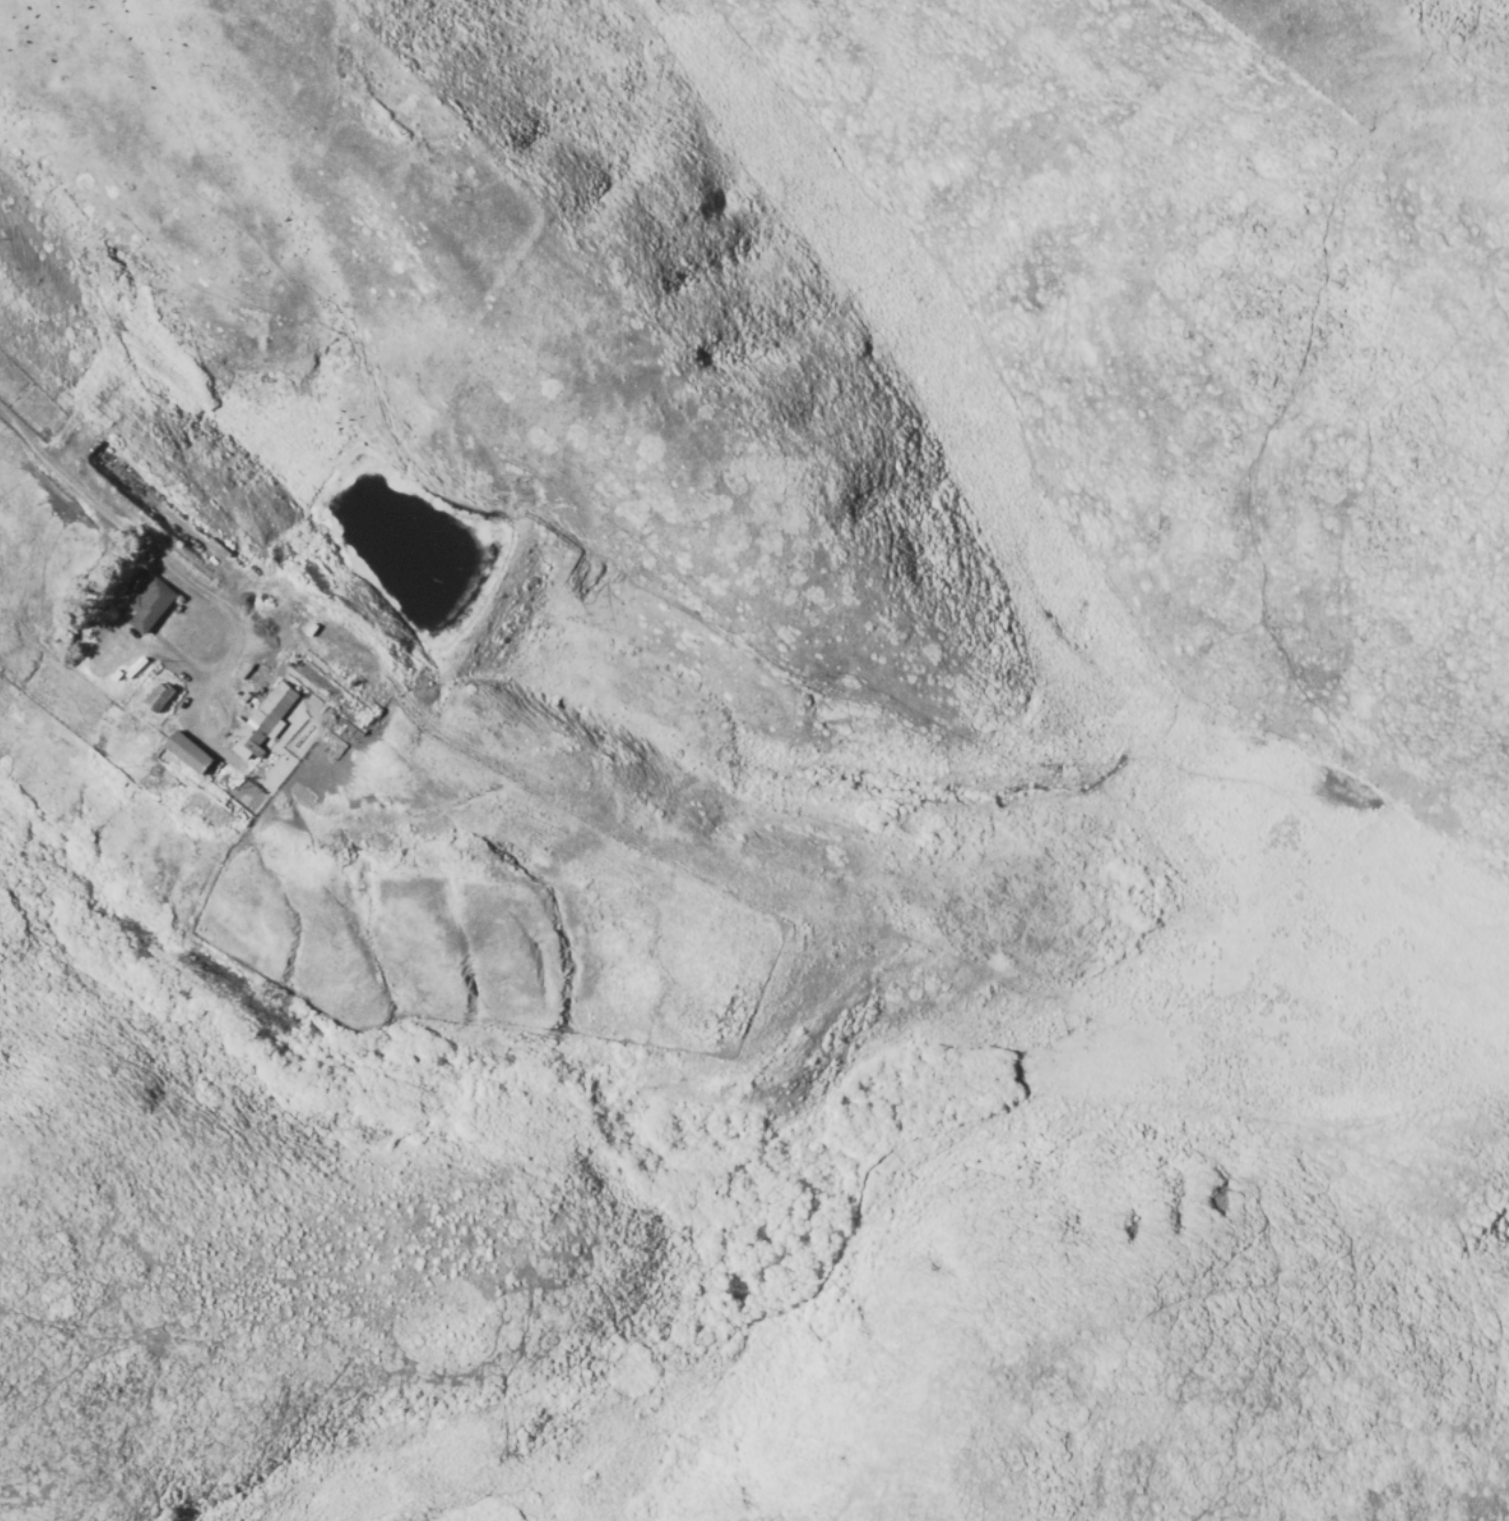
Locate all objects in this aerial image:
road: (112, 515)
building: (150, 605)
building: (188, 752)

